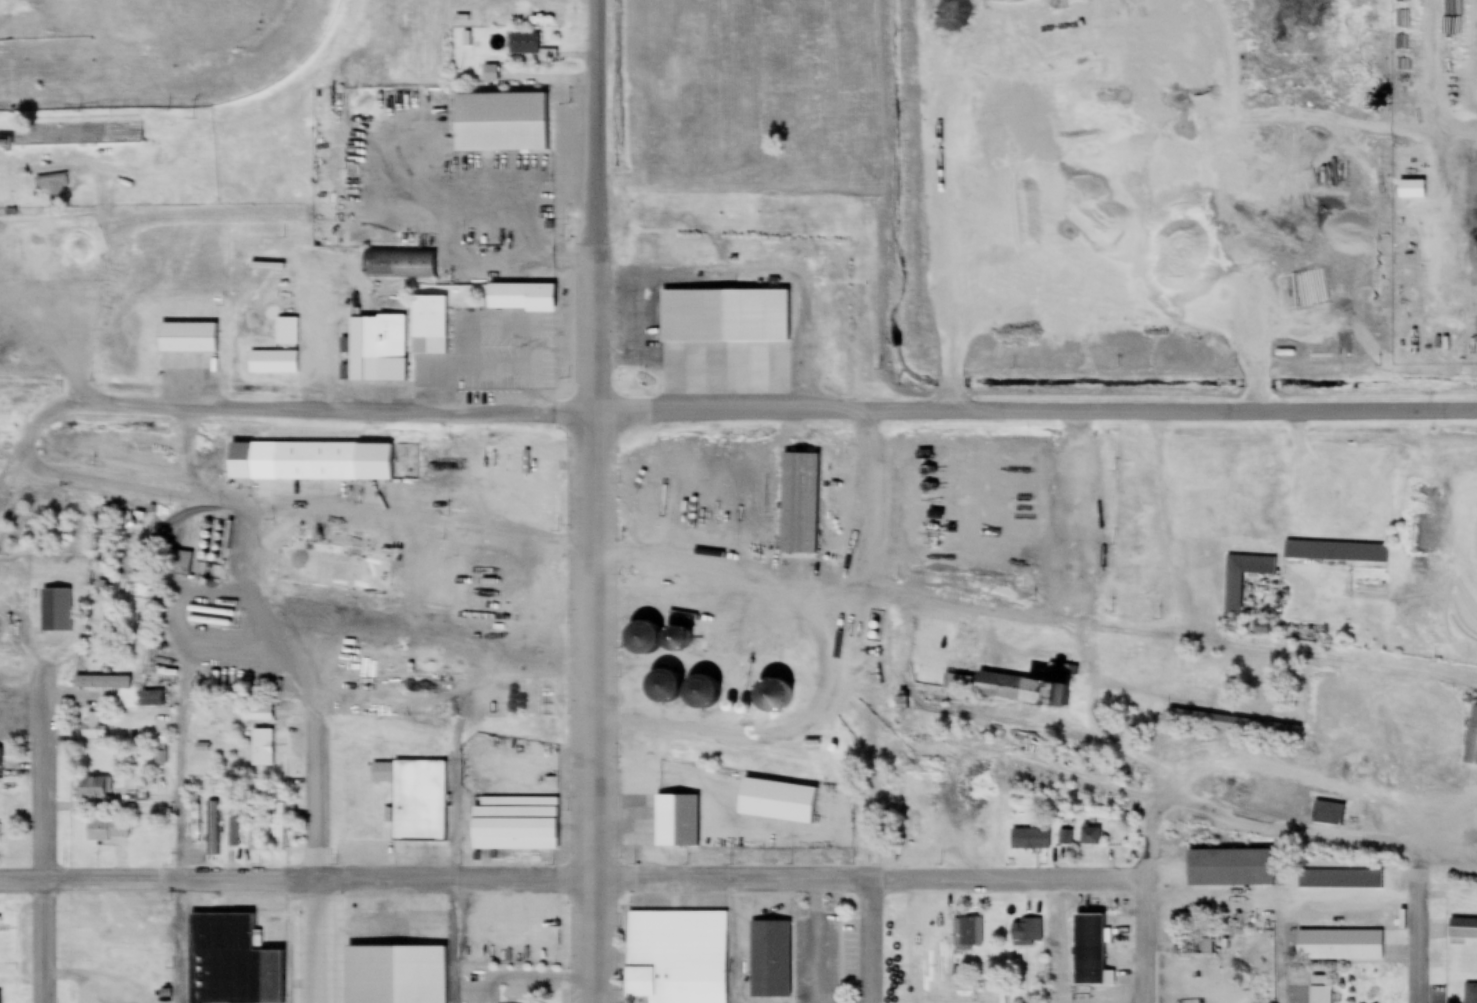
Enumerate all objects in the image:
road: (912, 45)
building: (528, 47)
building: (489, 74)
building: (670, 75)
road: (1194, 98)
building: (499, 123)
building: (77, 135)
building: (52, 190)
building: (1409, 192)
building: (397, 265)
building: (519, 297)
building: (427, 326)
building: (286, 333)
building: (724, 343)
building: (188, 347)
building: (377, 348)
building: (273, 363)
road: (393, 410)
road: (1035, 410)
road: (69, 413)
road: (594, 437)
building: (308, 462)
building: (523, 469)
building: (797, 503)
building: (105, 530)
building: (1335, 551)
building: (176, 563)
building: (333, 568)
road: (748, 573)
building: (1232, 597)
building: (728, 605)
building: (703, 607)
building: (55, 610)
road: (17, 629)
building: (794, 657)
road: (180, 678)
building: (100, 683)
building: (1012, 687)
building: (150, 698)
building: (89, 724)
building: (1233, 725)
road: (734, 733)
building: (1472, 738)
building: (261, 748)
building: (160, 757)
building: (1, 758)
road: (1238, 764)
road: (43, 769)
road: (313, 786)
building: (93, 787)
building: (415, 798)
building: (790, 804)
building: (1328, 813)
road: (873, 814)
building: (676, 819)
building: (254, 821)
building: (195, 824)
building: (211, 829)
road: (1290, 829)
building: (106, 830)
building: (487, 831)
building: (1090, 837)
building: (1030, 840)
road: (1449, 861)
building: (1230, 867)
road: (385, 876)
road: (88, 877)
road: (871, 878)
building: (1339, 879)
road: (1421, 900)
building: (1026, 933)
building: (968, 935)
road: (313, 939)
road: (594, 939)
road: (46, 940)
road: (177, 940)
road: (870, 940)
road: (1147, 943)
building: (1339, 947)
building: (1088, 948)
building: (678, 956)
building: (770, 958)
building: (914, 958)
building: (230, 961)
building: (392, 975)
building: (1470, 993)
building: (972, 994)
building: (1320, 994)

